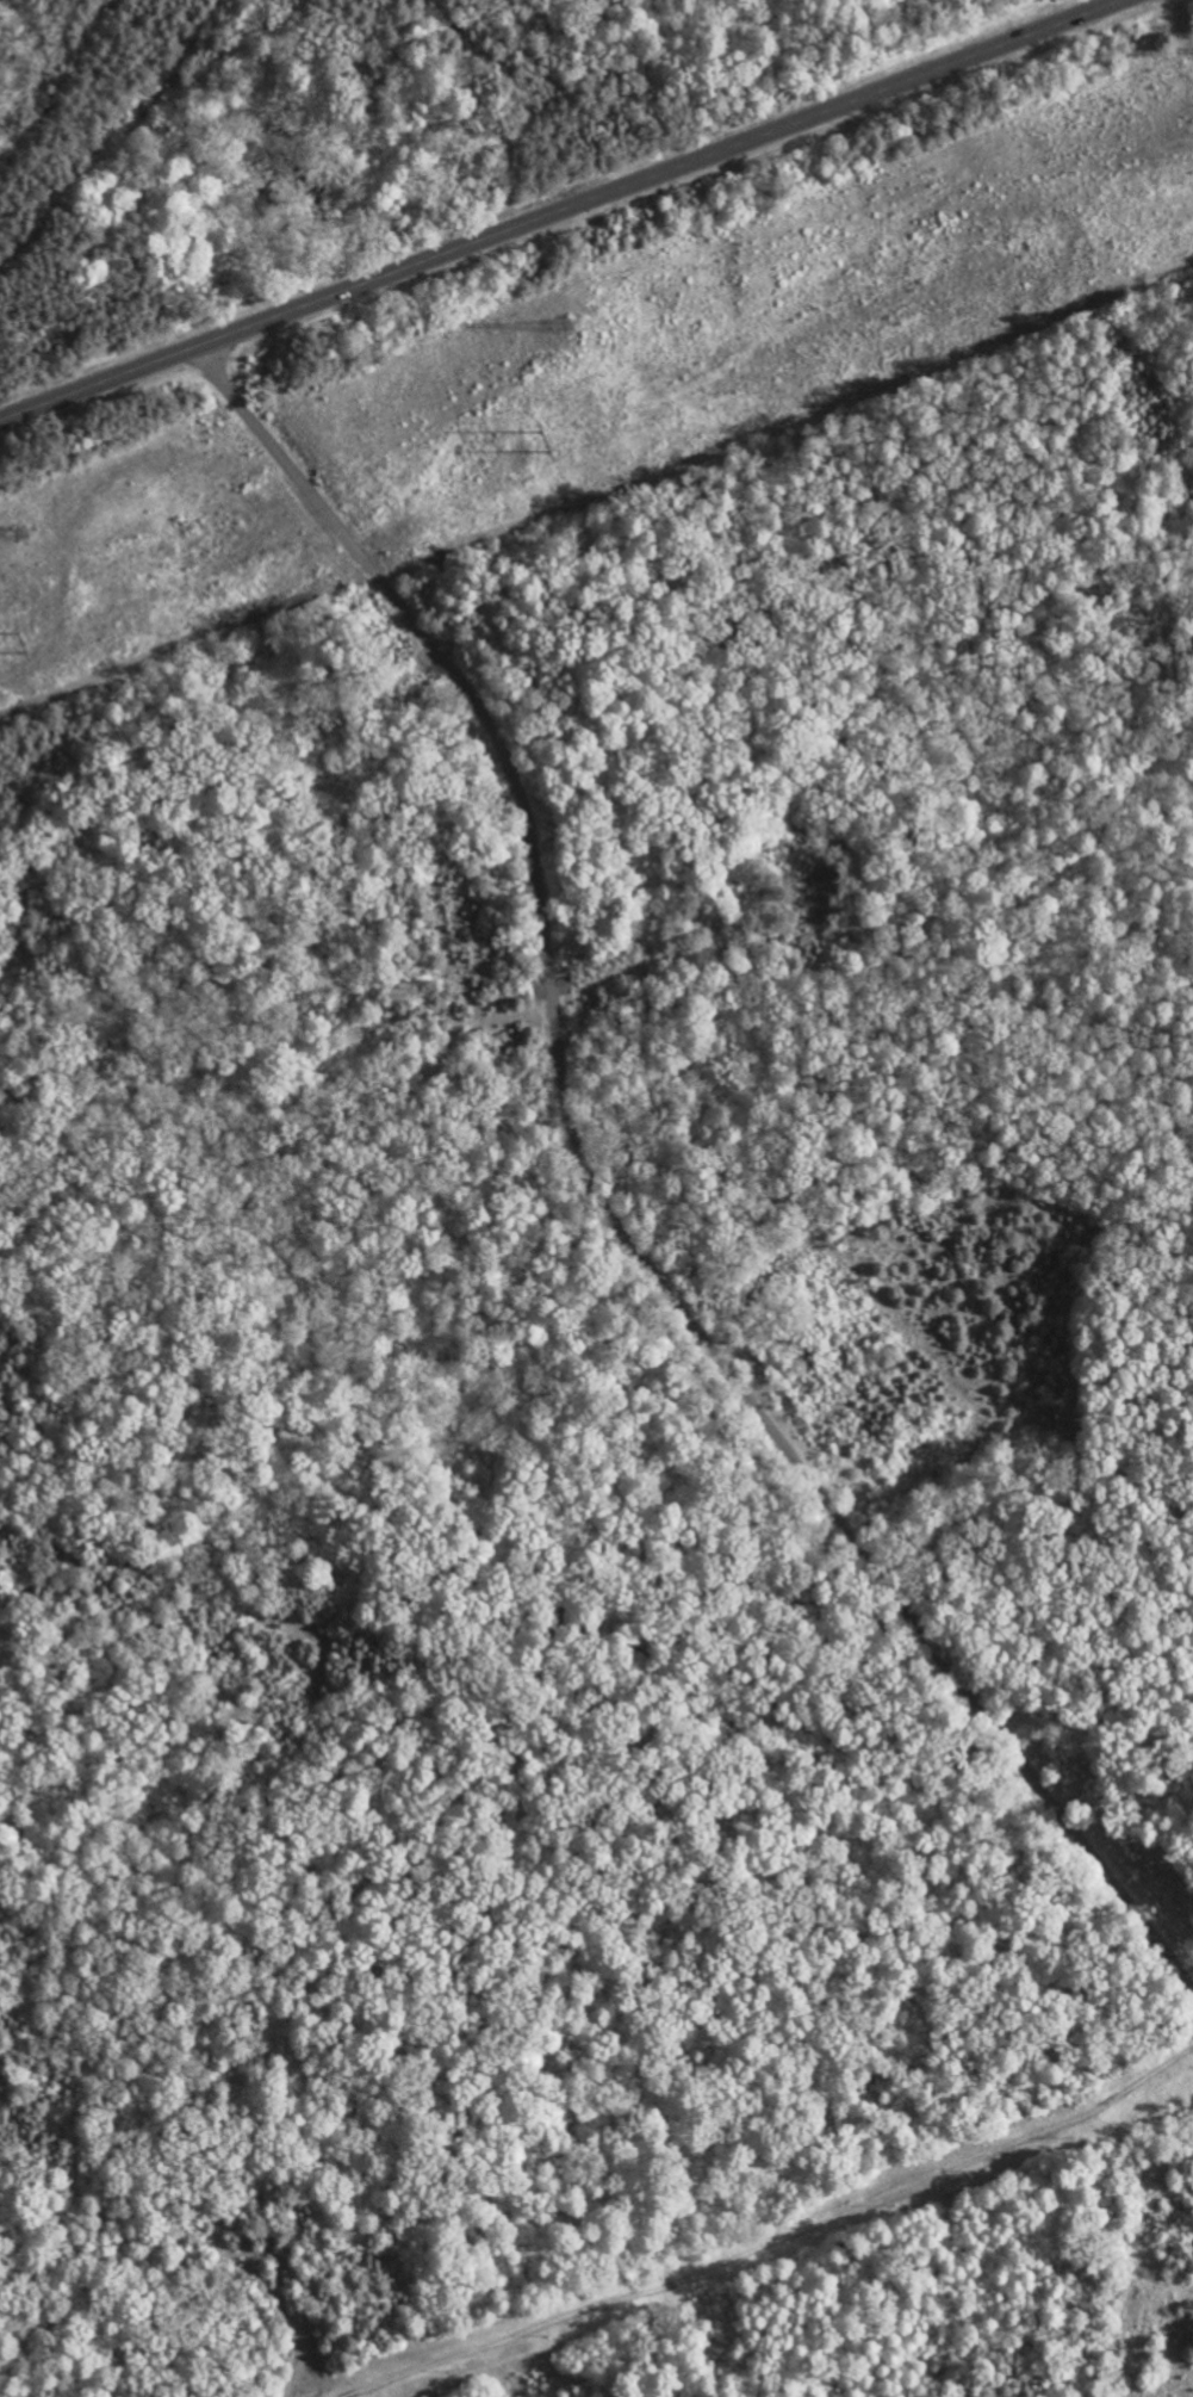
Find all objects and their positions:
road: (563, 211)
power tower: (570, 323)
power tower: (548, 442)
power tower: (21, 533)
power tower: (23, 640)
road: (605, 1206)

